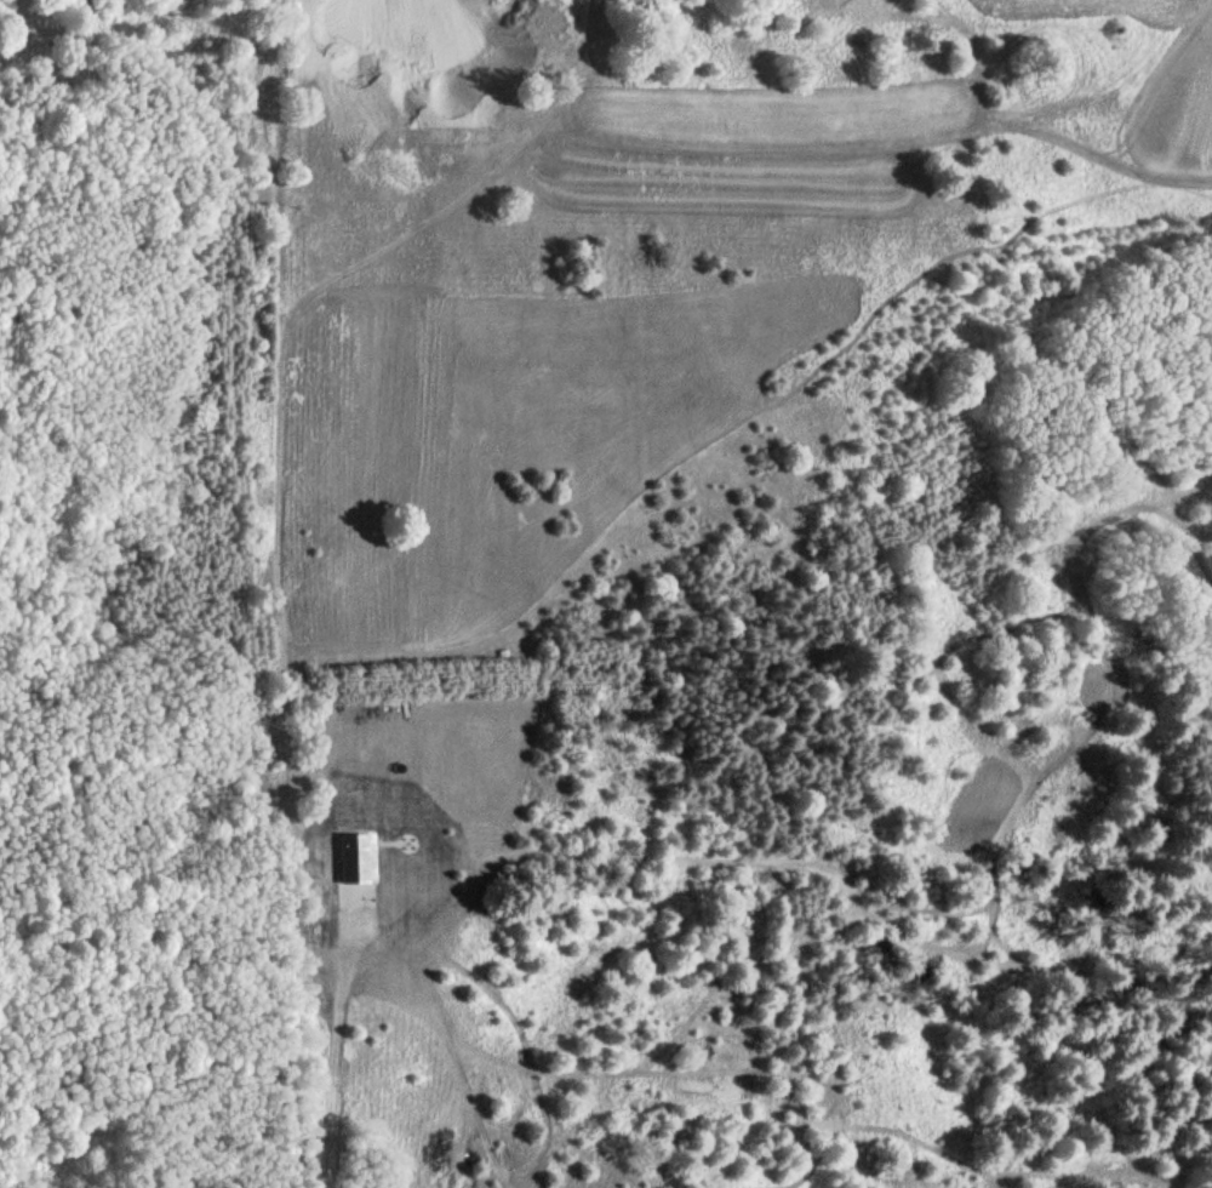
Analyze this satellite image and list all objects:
quarry: (417, 59)
road: (276, 498)
building: (355, 855)
road: (353, 952)
road: (331, 1097)

